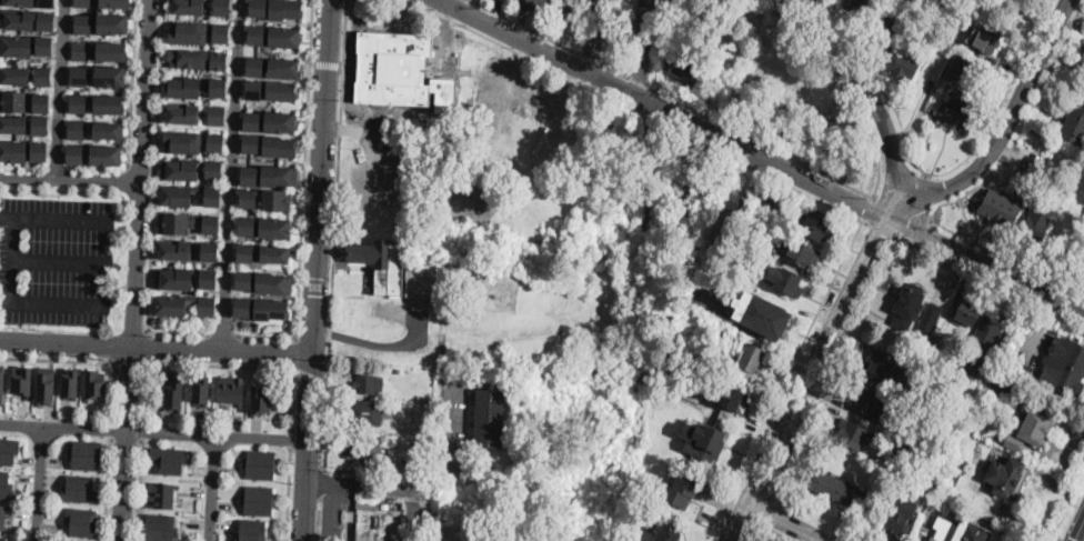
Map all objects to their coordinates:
building: (941, 1)
building: (30, 2)
building: (83, 3)
building: (116, 3)
road: (459, 3)
building: (855, 3)
building: (539, 6)
building: (185, 7)
building: (219, 7)
building: (571, 7)
building: (272, 8)
building: (865, 16)
building: (26, 21)
building: (83, 24)
road: (529, 24)
building: (114, 26)
building: (881, 30)
building: (217, 32)
road: (344, 32)
building: (185, 33)
building: (252, 36)
building: (280, 36)
road: (596, 36)
building: (982, 39)
building: (933, 44)
building: (24, 47)
road: (646, 48)
building: (943, 50)
building: (81, 51)
road: (524, 51)
building: (113, 52)
road: (593, 54)
building: (195, 59)
building: (953, 61)
road: (312, 63)
road: (327, 63)
road: (341, 64)
building: (683, 66)
building: (251, 68)
building: (279, 68)
road: (619, 68)
building: (904, 68)
building: (397, 72)
building: (24, 76)
building: (80, 77)
building: (111, 78)
road: (643, 80)
road: (132, 82)
park: (774, 86)
building: (181, 89)
building: (214, 89)
building: (249, 90)
building: (960, 90)
road: (61, 91)
building: (277, 91)
road: (846, 94)
road: (866, 96)
building: (24, 102)
building: (78, 104)
building: (110, 106)
building: (957, 112)
building: (184, 114)
building: (215, 116)
road: (1010, 118)
building: (248, 121)
building: (275, 121)
building: (22, 126)
building: (1074, 126)
building: (77, 130)
building: (110, 132)
road: (765, 141)
building: (180, 142)
building: (212, 144)
building: (248, 144)
building: (275, 148)
building: (23, 152)
building: (77, 154)
building: (107, 156)
road: (764, 156)
road: (760, 167)
building: (1032, 167)
building: (177, 169)
building: (211, 170)
road: (143, 172)
road: (935, 173)
road: (232, 174)
building: (244, 174)
road: (322, 176)
building: (277, 177)
road: (71, 182)
building: (699, 184)
road: (973, 190)
road: (153, 194)
building: (187, 196)
building: (263, 198)
road: (303, 198)
building: (732, 199)
building: (774, 204)
road: (867, 208)
building: (1001, 208)
road: (6, 218)
building: (1037, 221)
building: (175, 222)
building: (208, 224)
road: (912, 224)
building: (814, 226)
building: (241, 227)
road: (880, 227)
building: (271, 228)
building: (752, 239)
building: (171, 250)
building: (205, 252)
building: (259, 253)
building: (803, 254)
road: (9, 259)
parking lot: (56, 260)
road: (58, 260)
building: (1080, 263)
building: (383, 264)
building: (737, 264)
road: (332, 266)
building: (172, 279)
building: (207, 279)
building: (423, 280)
road: (988, 280)
building: (240, 281)
building: (785, 281)
building: (272, 284)
building: (180, 304)
building: (907, 305)
building: (239, 307)
building: (268, 309)
building: (967, 311)
building: (764, 317)
building: (930, 319)
road: (222, 332)
building: (723, 335)
road: (379, 342)
building: (936, 342)
building: (983, 343)
road: (143, 344)
road: (158, 345)
road: (293, 351)
building: (550, 353)
building: (566, 354)
building: (749, 358)
building: (929, 358)
road: (87, 359)
road: (128, 359)
road: (149, 360)
building: (472, 361)
building: (951, 362)
road: (224, 363)
road: (815, 365)
road: (834, 367)
building: (1068, 369)
building: (1018, 370)
building: (880, 371)
road: (310, 373)
road: (783, 378)
building: (26, 381)
building: (3, 383)
building: (76, 383)
building: (98, 383)
building: (367, 384)
building: (49, 385)
building: (1005, 387)
building: (205, 389)
building: (234, 389)
building: (178, 392)
building: (733, 398)
building: (264, 400)
building: (870, 402)
building: (368, 412)
building: (953, 413)
building: (423, 418)
building: (490, 418)
road: (127, 421)
building: (932, 424)
road: (111, 427)
road: (143, 430)
building: (1028, 430)
road: (154, 432)
road: (127, 433)
building: (852, 433)
road: (291, 438)
road: (128, 442)
building: (900, 443)
building: (706, 444)
road: (310, 447)
building: (365, 448)
building: (9, 449)
building: (88, 452)
building: (168, 458)
building: (260, 462)
building: (932, 469)
building: (952, 474)
building: (1005, 477)
road: (323, 481)
building: (6, 483)
road: (39, 483)
road: (424, 483)
road: (108, 487)
road: (212, 488)
building: (81, 489)
road: (140, 489)
road: (751, 489)
building: (839, 489)
building: (679, 491)
road: (288, 492)
building: (162, 493)
road: (766, 498)
building: (258, 499)
road: (761, 509)
building: (902, 512)
road: (413, 513)
building: (2, 517)
road: (322, 518)
park: (966, 520)
building: (84, 521)
road: (784, 522)
building: (379, 524)
building: (161, 525)
building: (252, 529)
building: (961, 530)
road: (774, 531)
building: (665, 533)
road: (1081, 534)
building: (2, 538)
park: (761, 538)
traffic signals: (1078, 540)

